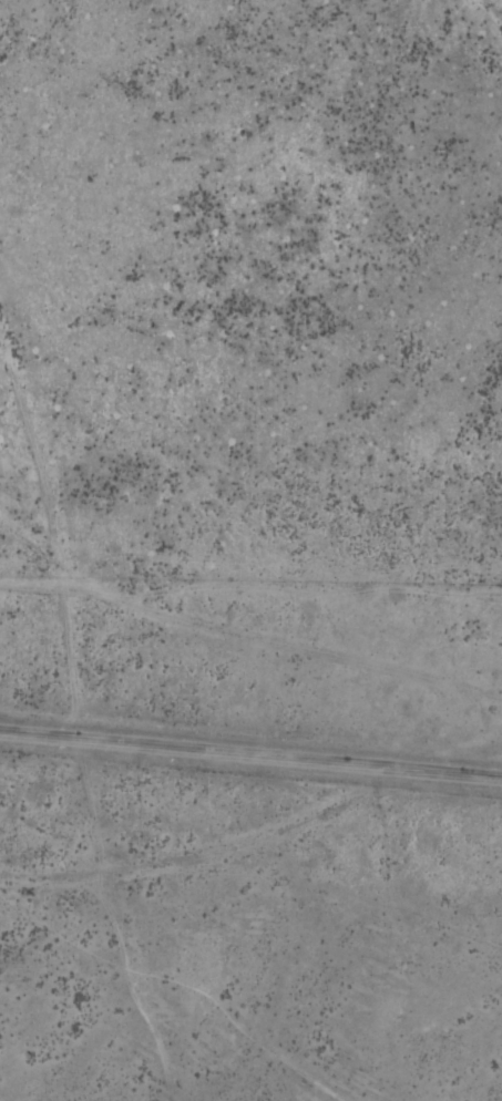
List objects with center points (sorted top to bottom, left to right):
road: (493, 7)
road: (136, 341)
road: (54, 548)
road: (250, 752)
road: (48, 877)
road: (99, 917)

